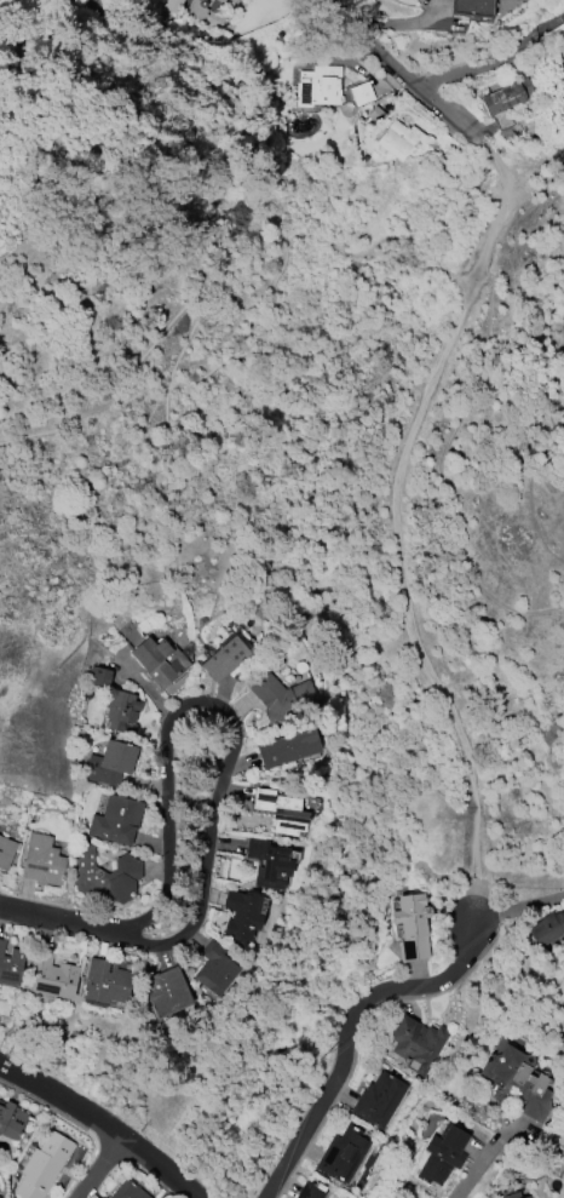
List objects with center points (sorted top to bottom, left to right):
building: (206, 0)
building: (175, 2)
building: (230, 5)
building: (472, 8)
building: (205, 15)
road: (547, 24)
road: (478, 68)
road: (405, 74)
building: (318, 86)
building: (361, 93)
building: (506, 96)
building: (375, 115)
building: (398, 139)
road: (177, 425)
road: (396, 522)
building: (224, 658)
building: (159, 660)
building: (98, 677)
building: (281, 699)
building: (122, 709)
road: (224, 710)
building: (288, 747)
building: (110, 763)
building: (282, 812)
building: (116, 820)
building: (6, 852)
building: (42, 861)
building: (270, 864)
building: (107, 875)
road: (516, 877)
road: (517, 908)
building: (242, 916)
road: (61, 921)
building: (412, 927)
building: (546, 929)
building: (11, 964)
building: (214, 968)
building: (51, 975)
building: (105, 981)
building: (166, 991)
road: (350, 1036)
building: (416, 1044)
building: (523, 1078)
building: (379, 1099)
building: (11, 1119)
road: (100, 1124)
building: (343, 1154)
building: (442, 1156)
road: (478, 1159)
building: (42, 1167)
road: (100, 1168)
building: (127, 1190)
building: (311, 1190)
building: (513, 1196)
building: (526, 1197)

